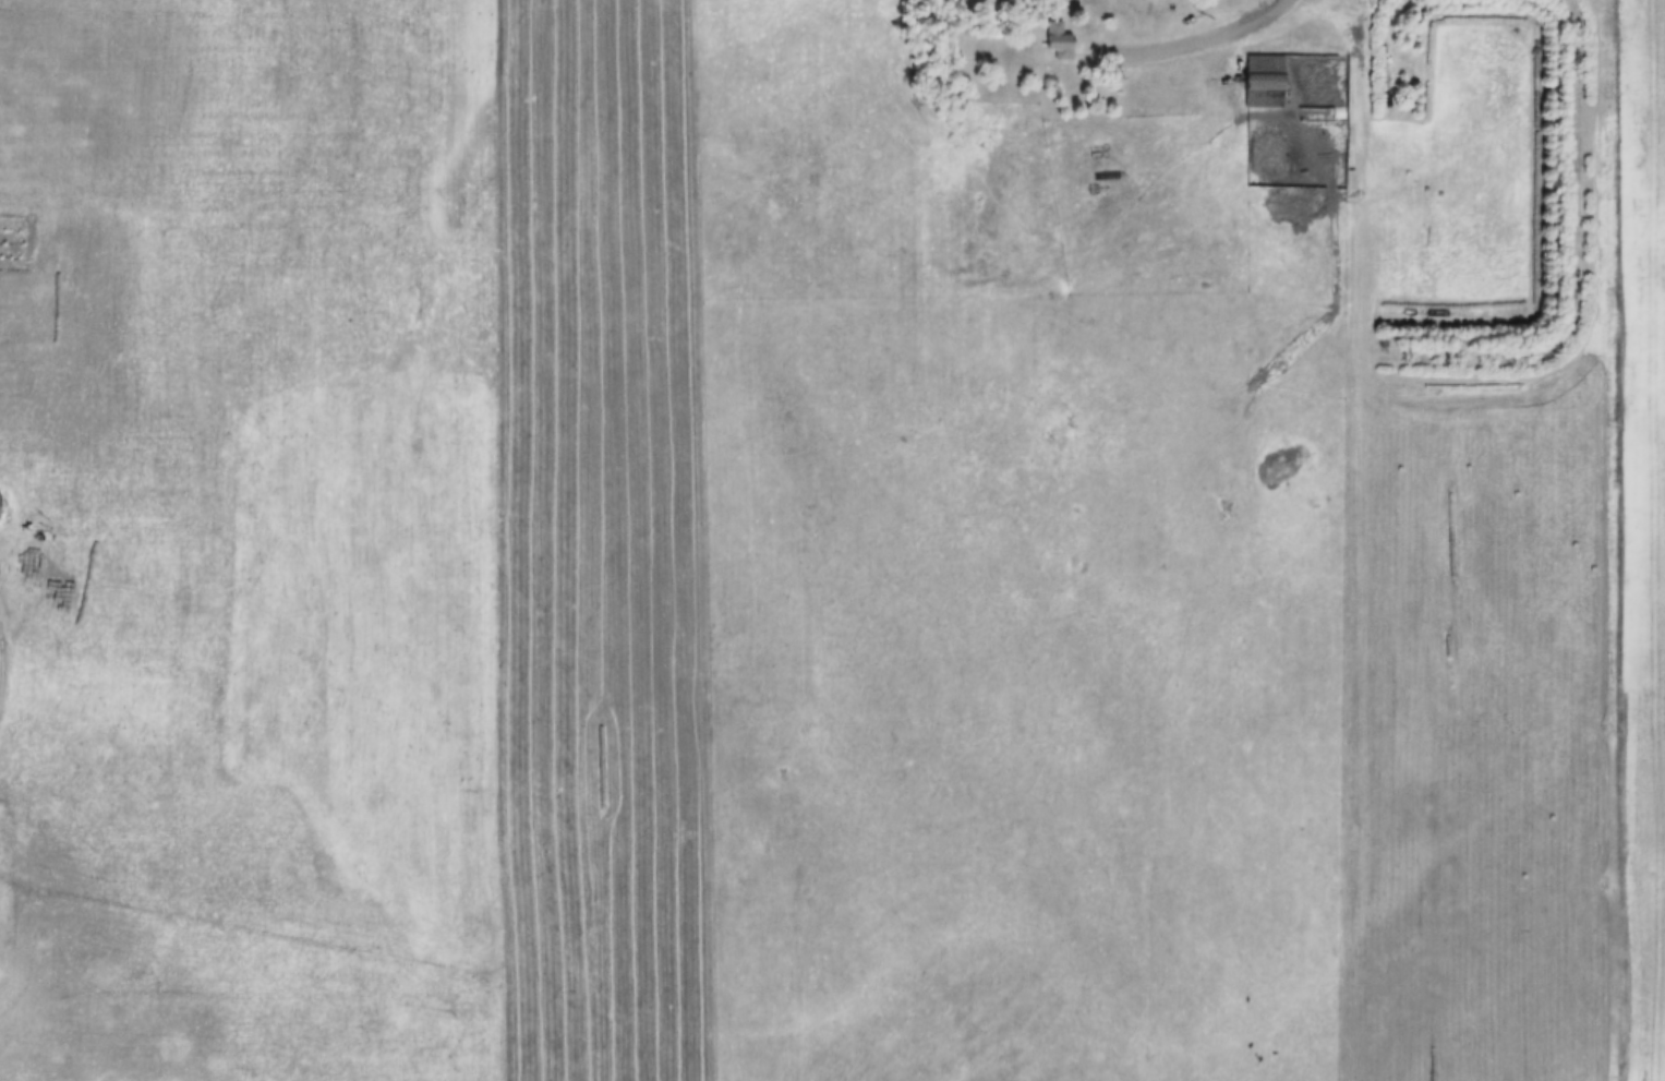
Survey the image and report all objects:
building: (1197, 5)
building: (1063, 44)
road: (1209, 44)
building: (161, 1070)

